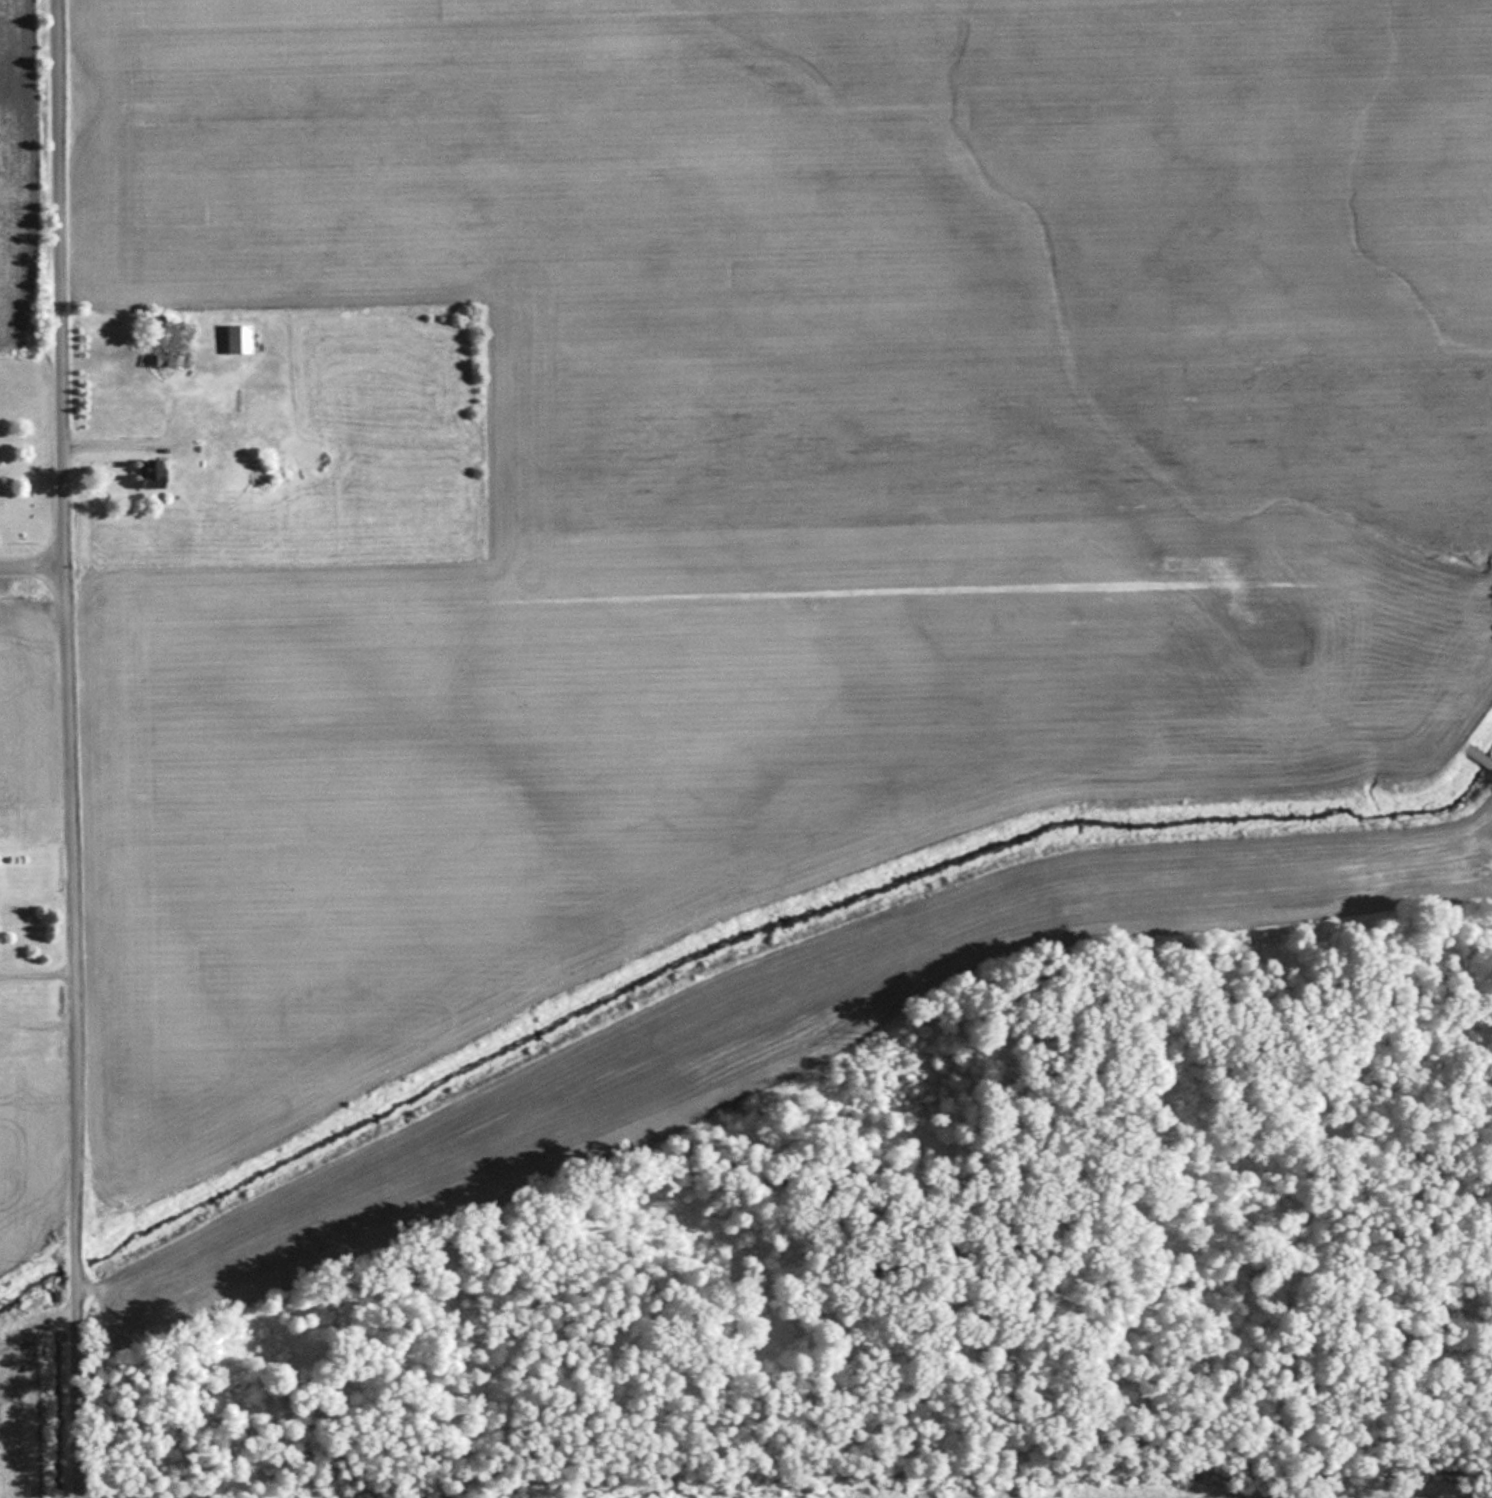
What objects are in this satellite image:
building: (232, 340)
building: (159, 347)
building: (252, 444)
building: (145, 474)
road: (33, 570)
road: (68, 748)
building: (1477, 756)
road: (36, 969)
road: (36, 1020)
building: (1318, 1490)

